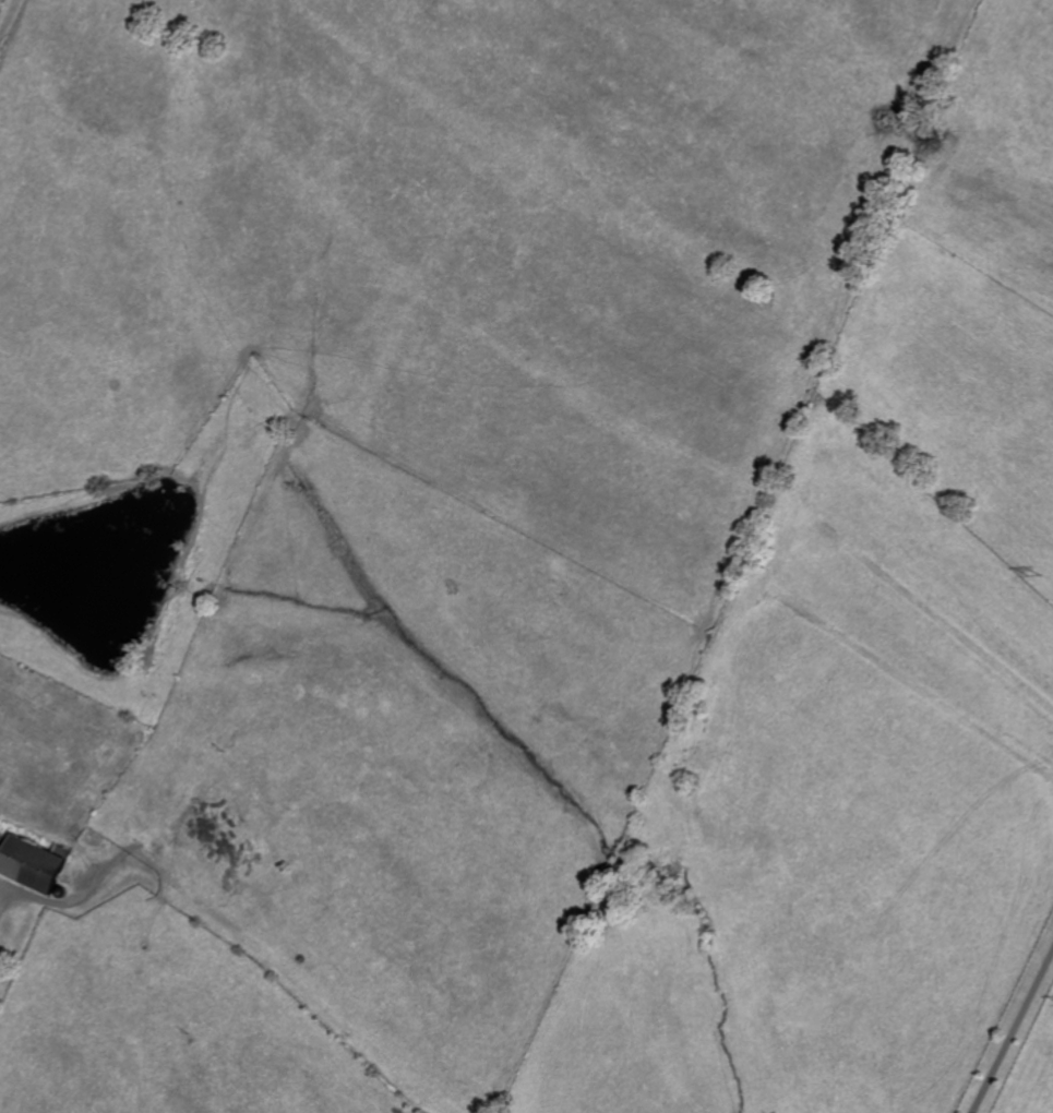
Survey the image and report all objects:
road: (1, 4)
building: (29, 864)
road: (1010, 1026)

